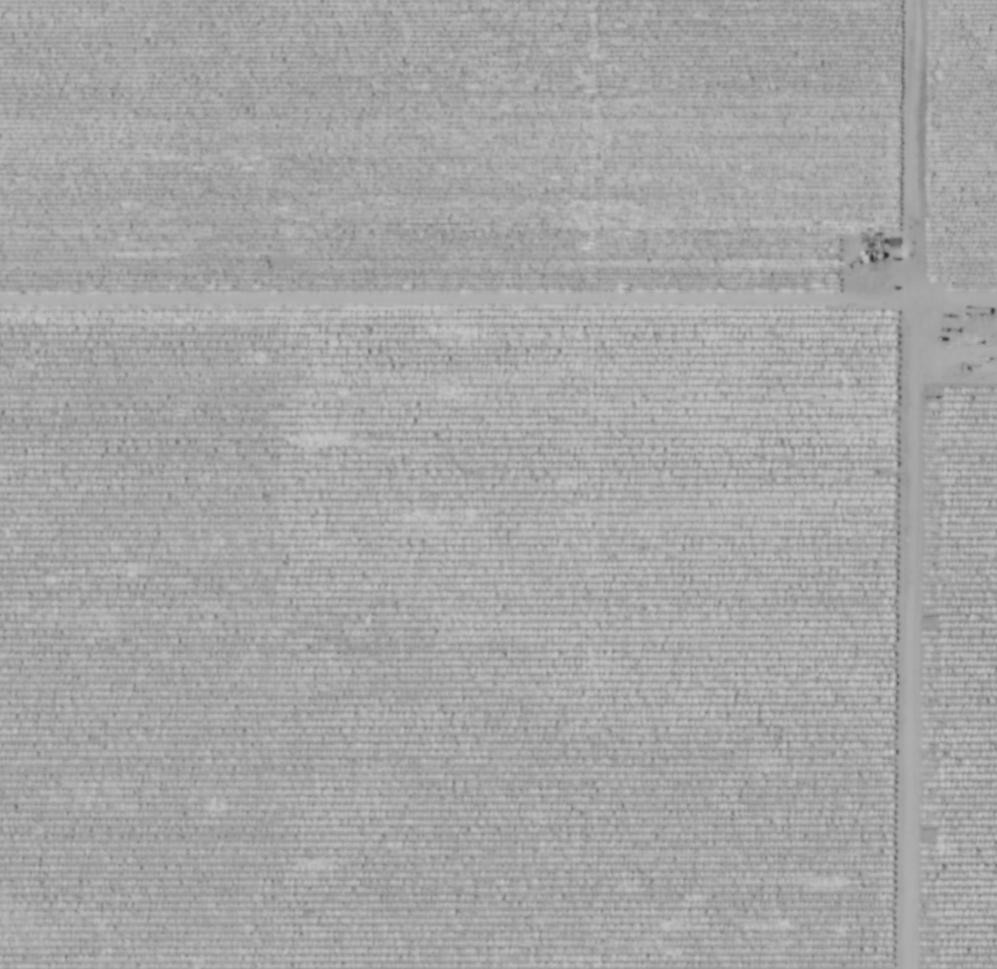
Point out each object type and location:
crop: (441, 149)
road: (498, 305)
road: (907, 484)
crop: (444, 642)
crop: (958, 685)

